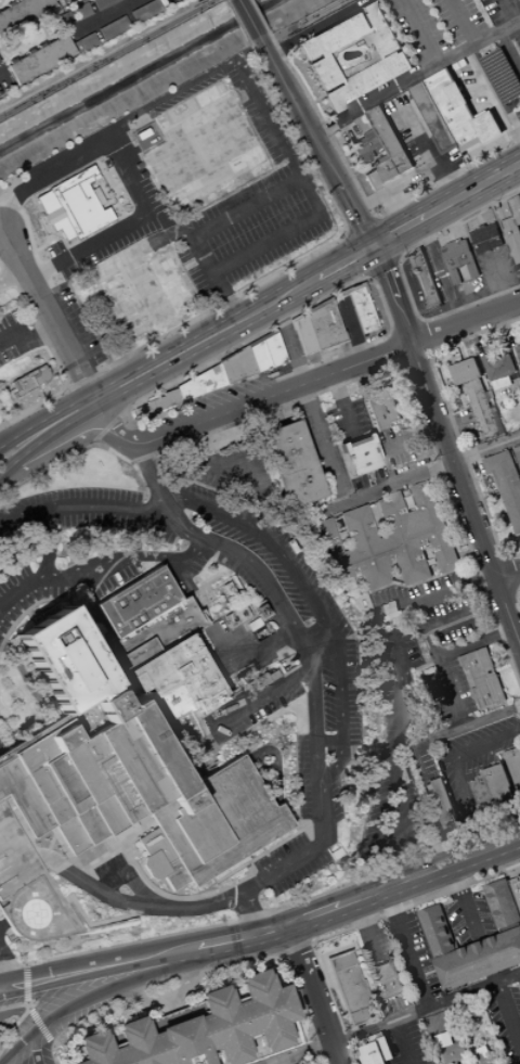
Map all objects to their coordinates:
building: (61, 0)
building: (67, 1)
building: (82, 1)
building: (102, 3)
building: (144, 11)
road: (511, 11)
building: (21, 12)
building: (75, 14)
road: (258, 16)
road: (102, 17)
road: (304, 18)
road: (247, 20)
road: (235, 22)
road: (466, 22)
building: (113, 28)
building: (380, 28)
road: (28, 33)
road: (418, 33)
road: (44, 34)
road: (269, 36)
building: (330, 37)
road: (265, 40)
building: (87, 41)
road: (510, 48)
road: (9, 53)
road: (106, 57)
building: (38, 59)
road: (1, 72)
building: (324, 72)
building: (502, 75)
road: (416, 78)
building: (367, 81)
parking lot: (494, 84)
road: (495, 93)
road: (315, 99)
building: (459, 111)
road: (515, 117)
building: (434, 118)
building: (386, 131)
road: (316, 143)
building: (195, 145)
building: (368, 146)
road: (428, 156)
road: (119, 158)
building: (404, 163)
road: (43, 175)
building: (381, 175)
road: (243, 179)
building: (79, 188)
road: (304, 189)
road: (473, 192)
road: (225, 194)
road: (259, 198)
road: (362, 200)
road: (3, 204)
road: (39, 208)
road: (373, 217)
road: (91, 218)
road: (73, 219)
parking lot: (258, 225)
road: (359, 226)
building: (513, 228)
road: (401, 233)
road: (343, 234)
building: (485, 234)
road: (383, 240)
road: (88, 244)
traffic signals: (374, 249)
road: (313, 253)
road: (357, 255)
building: (459, 259)
road: (351, 260)
road: (396, 261)
road: (381, 268)
road: (399, 273)
road: (442, 273)
road: (12, 275)
road: (323, 275)
road: (63, 278)
road: (366, 278)
road: (500, 278)
building: (424, 279)
road: (334, 282)
building: (136, 290)
road: (339, 295)
road: (392, 296)
building: (357, 306)
road: (298, 311)
road: (49, 313)
road: (419, 321)
building: (324, 324)
road: (351, 330)
road: (405, 330)
road: (389, 334)
building: (302, 335)
parking lot: (13, 336)
road: (25, 338)
road: (206, 338)
road: (422, 339)
road: (287, 343)
road: (398, 349)
building: (272, 350)
building: (518, 351)
road: (32, 356)
road: (429, 357)
building: (257, 358)
road: (53, 359)
road: (414, 359)
building: (498, 366)
building: (235, 367)
road: (402, 367)
building: (466, 373)
road: (18, 374)
road: (326, 374)
road: (354, 379)
road: (83, 380)
building: (27, 382)
building: (199, 384)
building: (500, 385)
road: (67, 386)
road: (44, 392)
road: (12, 402)
building: (156, 403)
road: (340, 406)
road: (80, 407)
road: (403, 408)
building: (382, 409)
road: (82, 412)
building: (483, 412)
road: (452, 419)
road: (457, 419)
road: (112, 423)
road: (106, 426)
road: (31, 430)
road: (411, 439)
road: (32, 444)
road: (64, 445)
road: (321, 445)
road: (487, 451)
building: (359, 456)
building: (517, 456)
building: (290, 465)
road: (212, 467)
road: (147, 470)
building: (507, 484)
road: (466, 491)
road: (376, 492)
road: (103, 504)
road: (493, 504)
road: (505, 508)
road: (18, 515)
road: (178, 522)
road: (503, 530)
building: (389, 540)
road: (47, 543)
road: (126, 559)
road: (507, 559)
road: (492, 565)
road: (509, 575)
road: (510, 575)
road: (21, 586)
building: (227, 589)
road: (516, 590)
road: (500, 593)
road: (518, 595)
road: (438, 598)
building: (136, 601)
road: (312, 606)
building: (235, 615)
building: (251, 624)
building: (457, 630)
building: (216, 632)
building: (152, 633)
road: (315, 640)
road: (301, 642)
road: (477, 642)
building: (134, 654)
building: (57, 659)
road: (505, 669)
building: (272, 675)
road: (444, 676)
building: (483, 677)
building: (260, 680)
building: (168, 683)
building: (243, 690)
road: (15, 695)
road: (259, 701)
building: (102, 706)
road: (10, 720)
road: (400, 722)
road: (448, 733)
building: (30, 735)
road: (325, 738)
building: (152, 751)
building: (126, 764)
building: (513, 764)
road: (458, 772)
building: (93, 775)
building: (60, 783)
building: (494, 787)
building: (40, 790)
building: (21, 799)
building: (182, 802)
building: (441, 805)
building: (103, 815)
building: (222, 819)
building: (86, 825)
parking lot: (10, 829)
building: (126, 830)
building: (197, 831)
road: (15, 834)
building: (68, 835)
building: (0, 837)
building: (90, 853)
road: (304, 855)
building: (109, 858)
building: (160, 858)
road: (13, 862)
building: (153, 866)
building: (94, 871)
building: (118, 875)
road: (404, 883)
building: (516, 888)
road: (54, 893)
road: (465, 903)
road: (131, 905)
building: (503, 906)
helipad: (40, 908)
road: (249, 913)
road: (266, 914)
road: (91, 923)
road: (300, 923)
road: (354, 925)
road: (272, 931)
road: (362, 932)
building: (438, 932)
road: (275, 934)
road: (247, 938)
road: (237, 941)
road: (309, 941)
road: (295, 946)
road: (407, 948)
road: (214, 949)
road: (281, 957)
building: (480, 961)
road: (118, 962)
road: (4, 969)
road: (201, 970)
building: (388, 979)
road: (23, 984)
road: (113, 987)
building: (348, 987)
road: (192, 988)
road: (330, 988)
road: (196, 990)
road: (312, 995)
road: (166, 999)
road: (136, 1008)
road: (136, 1012)
road: (509, 1012)
road: (21, 1015)
road: (398, 1018)
road: (442, 1024)
road: (39, 1025)
building: (201, 1029)
building: (443, 1040)
road: (403, 1041)
road: (19, 1043)
road: (32, 1043)
building: (386, 1049)
building: (372, 1054)
building: (482, 1055)
road: (359, 1059)

